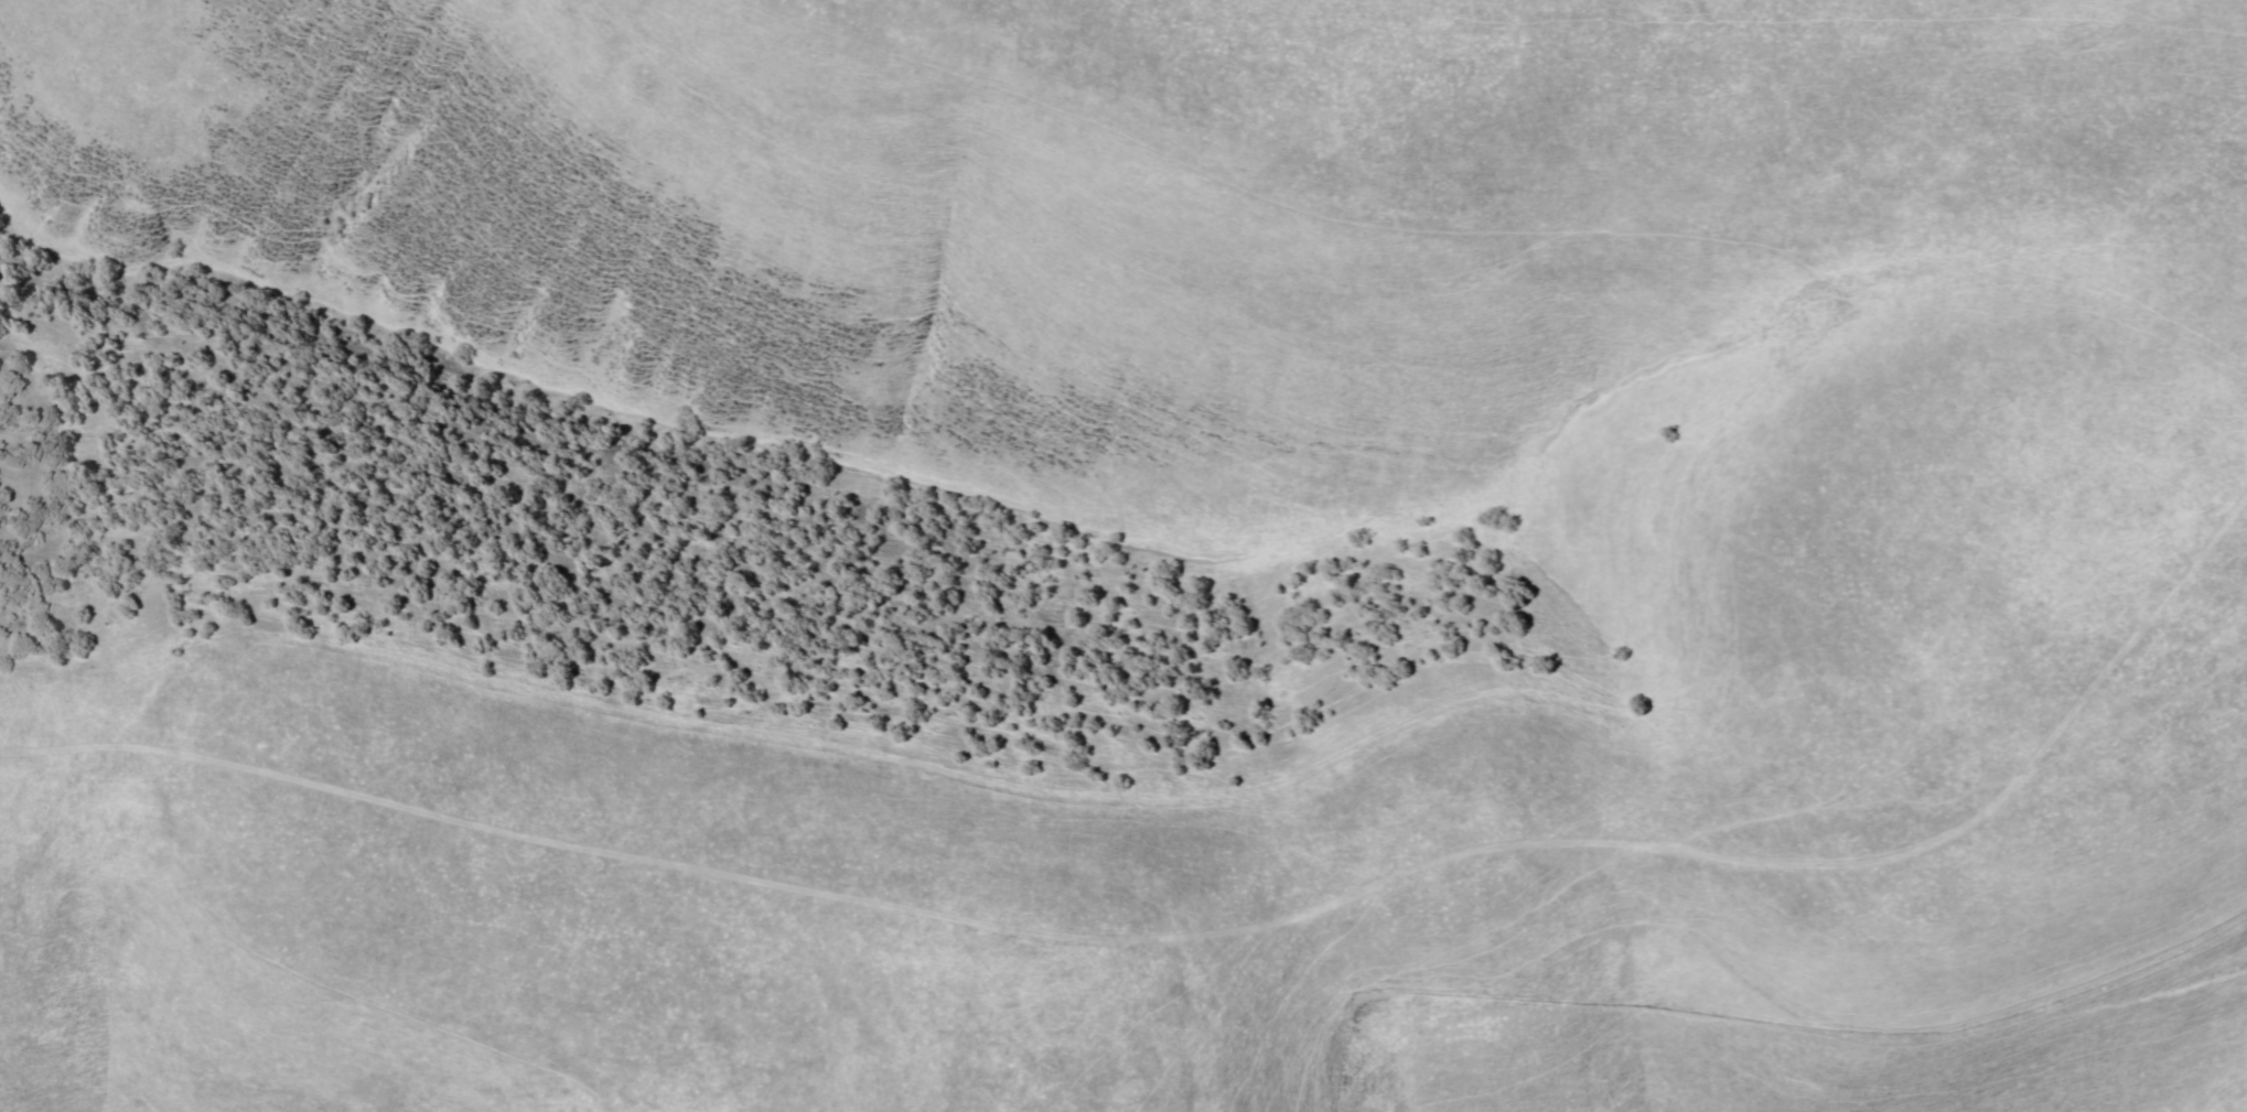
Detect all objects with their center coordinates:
road: (1794, 1033)

